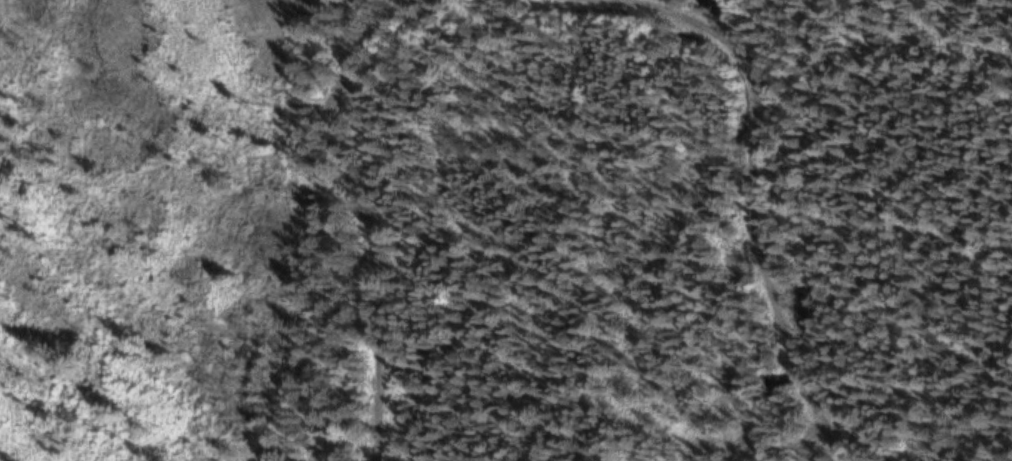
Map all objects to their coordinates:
road: (351, 204)
road: (765, 208)

